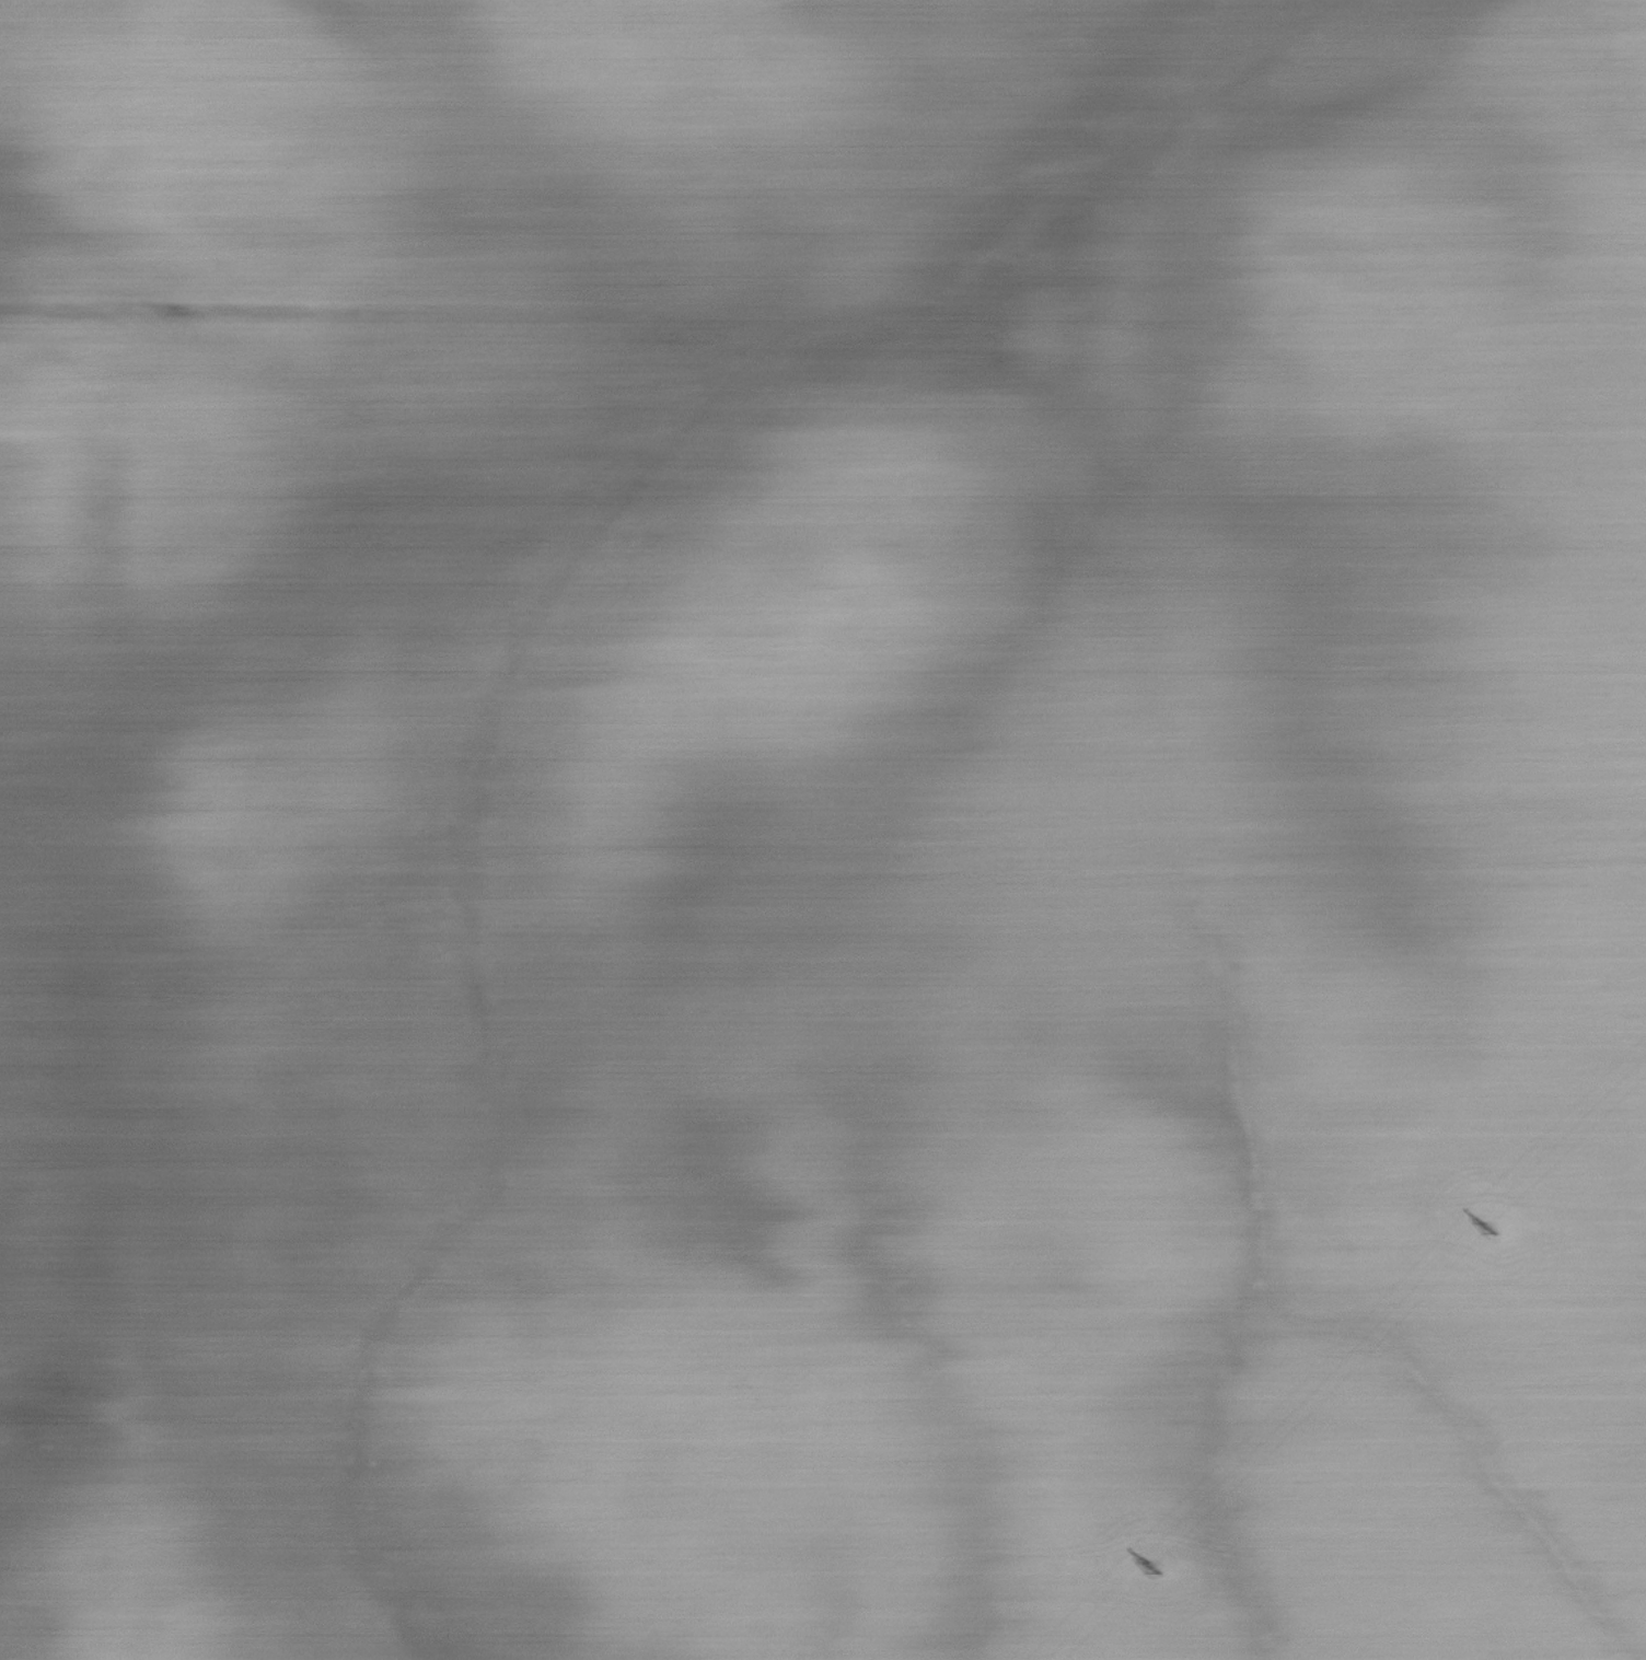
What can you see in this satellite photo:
power tower: (1492, 1227)
power tower: (1154, 1564)

